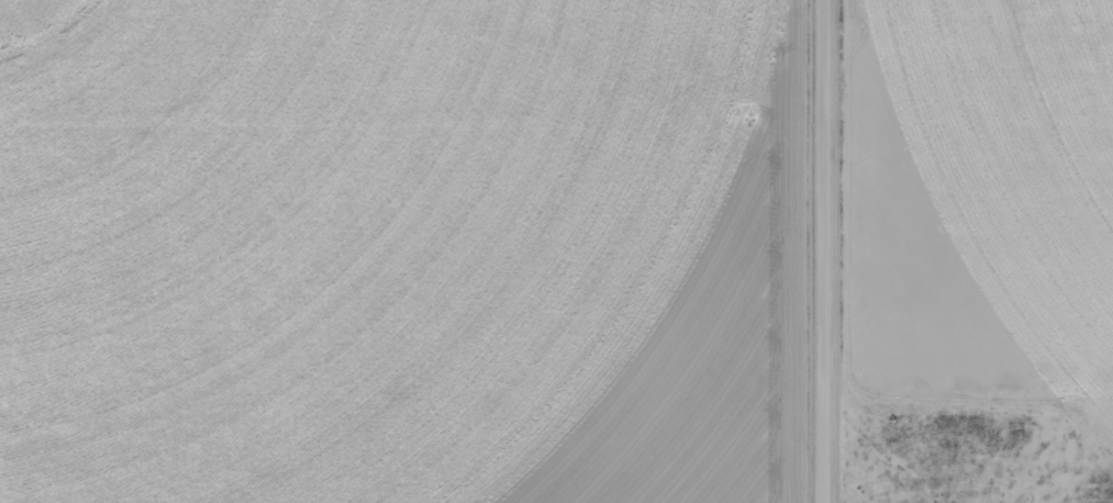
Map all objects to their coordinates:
road: (820, 251)

